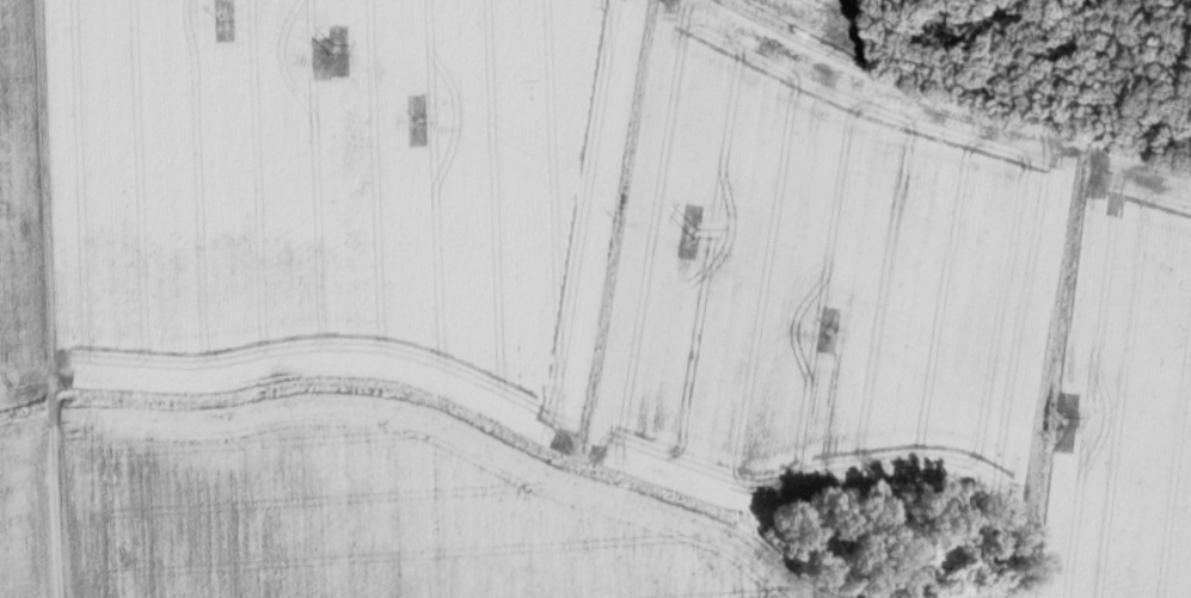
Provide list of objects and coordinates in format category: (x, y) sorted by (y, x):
power tower: (332, 47)
power tower: (698, 233)
power tower: (1064, 419)

